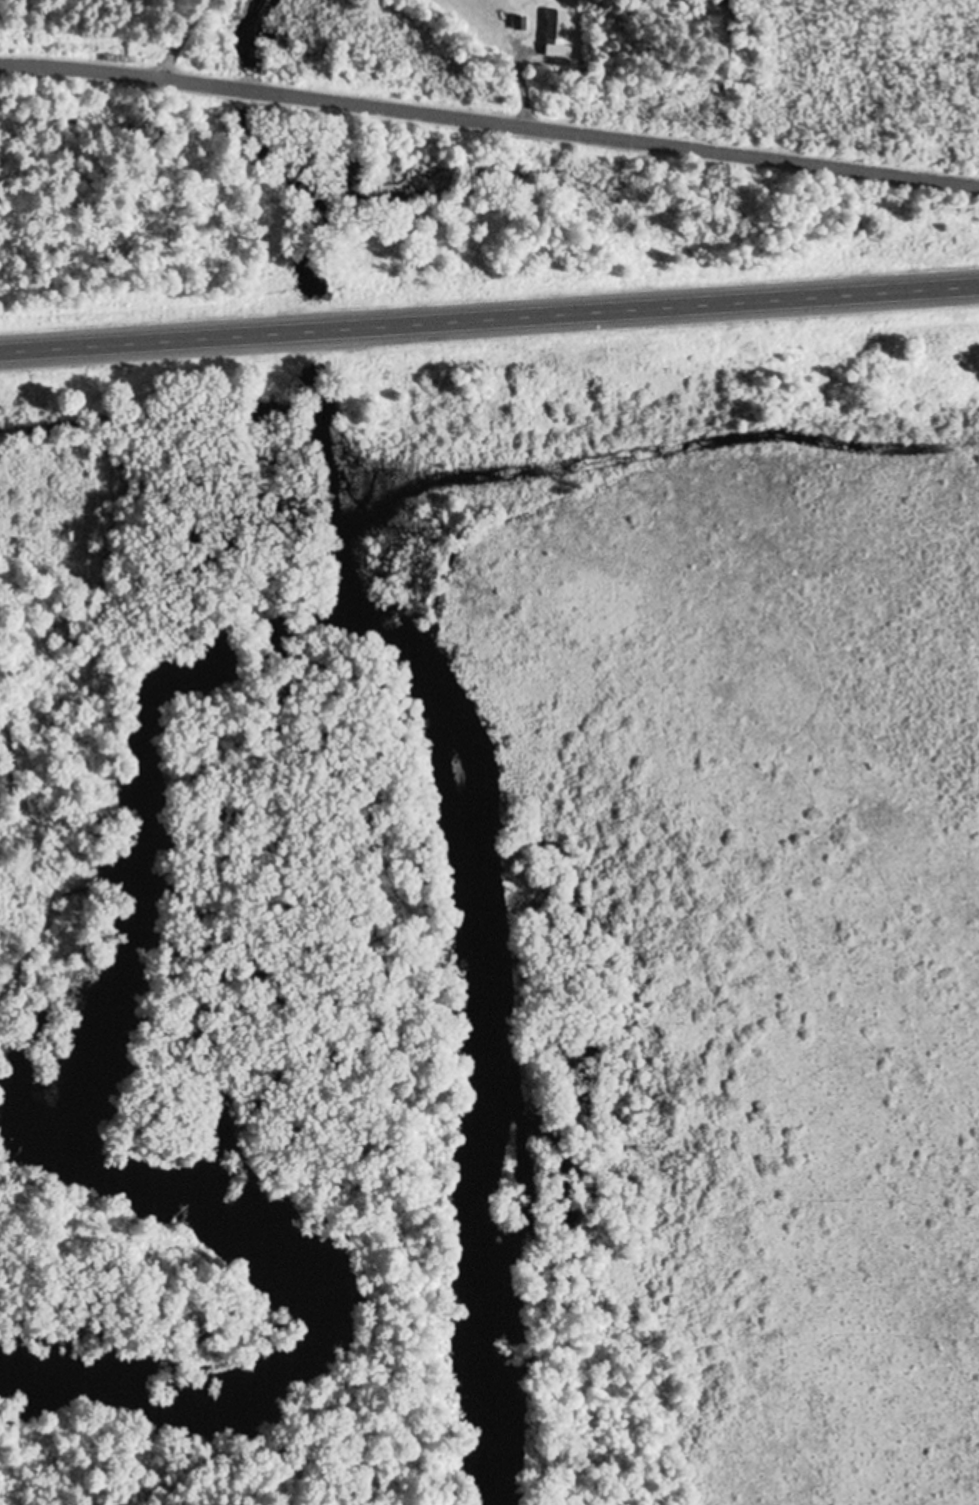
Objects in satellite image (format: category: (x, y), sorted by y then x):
building: (519, 24)
building: (556, 29)
road: (489, 125)
road: (489, 321)
river: (463, 1031)
river: (80, 1136)

